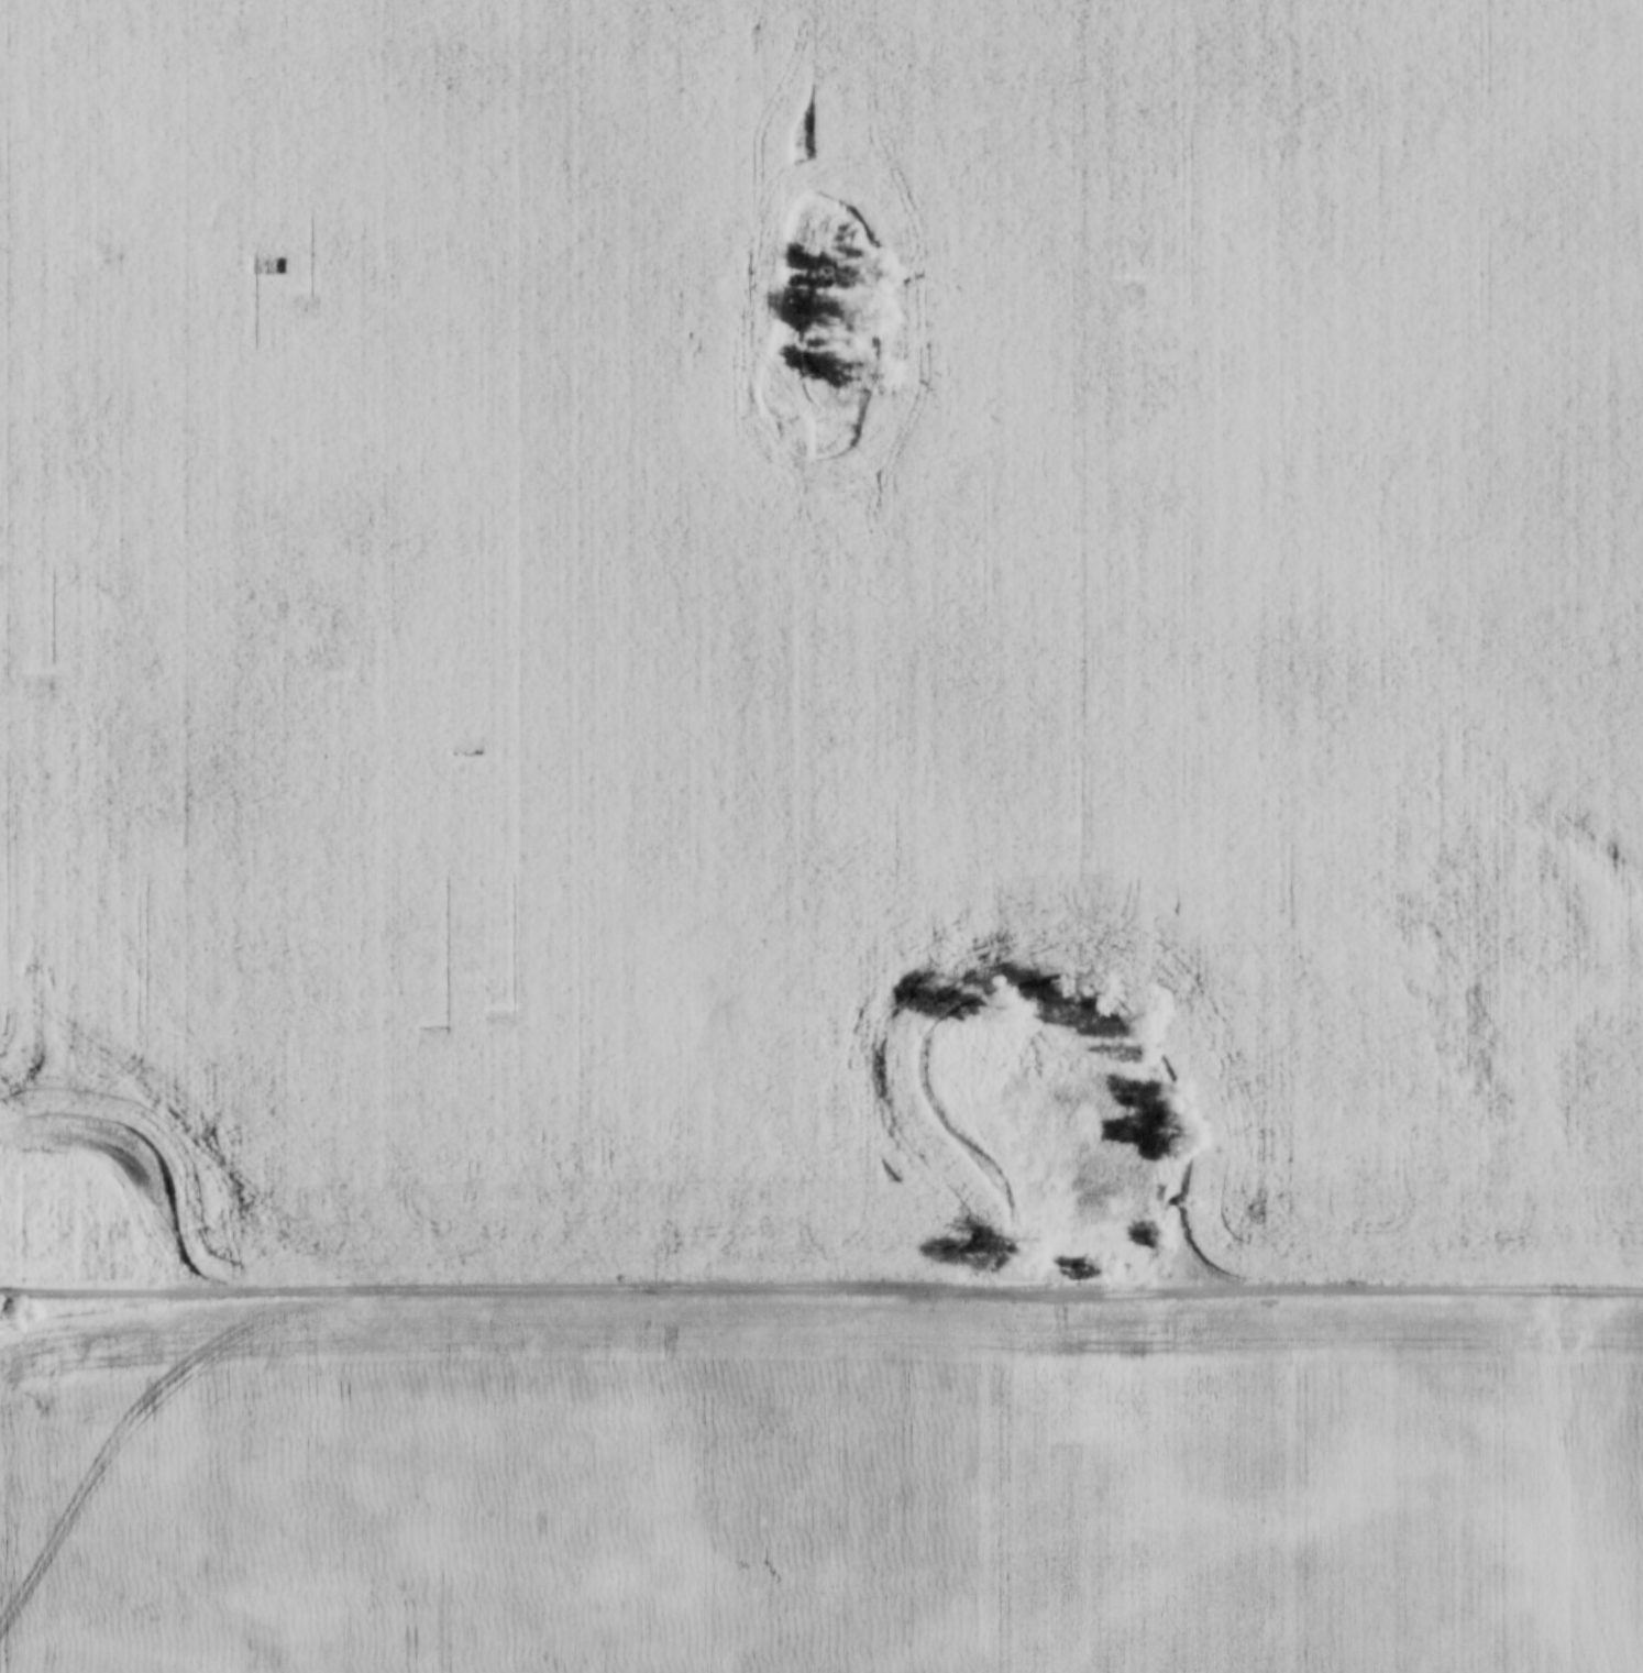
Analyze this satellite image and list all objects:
road: (821, 1287)

